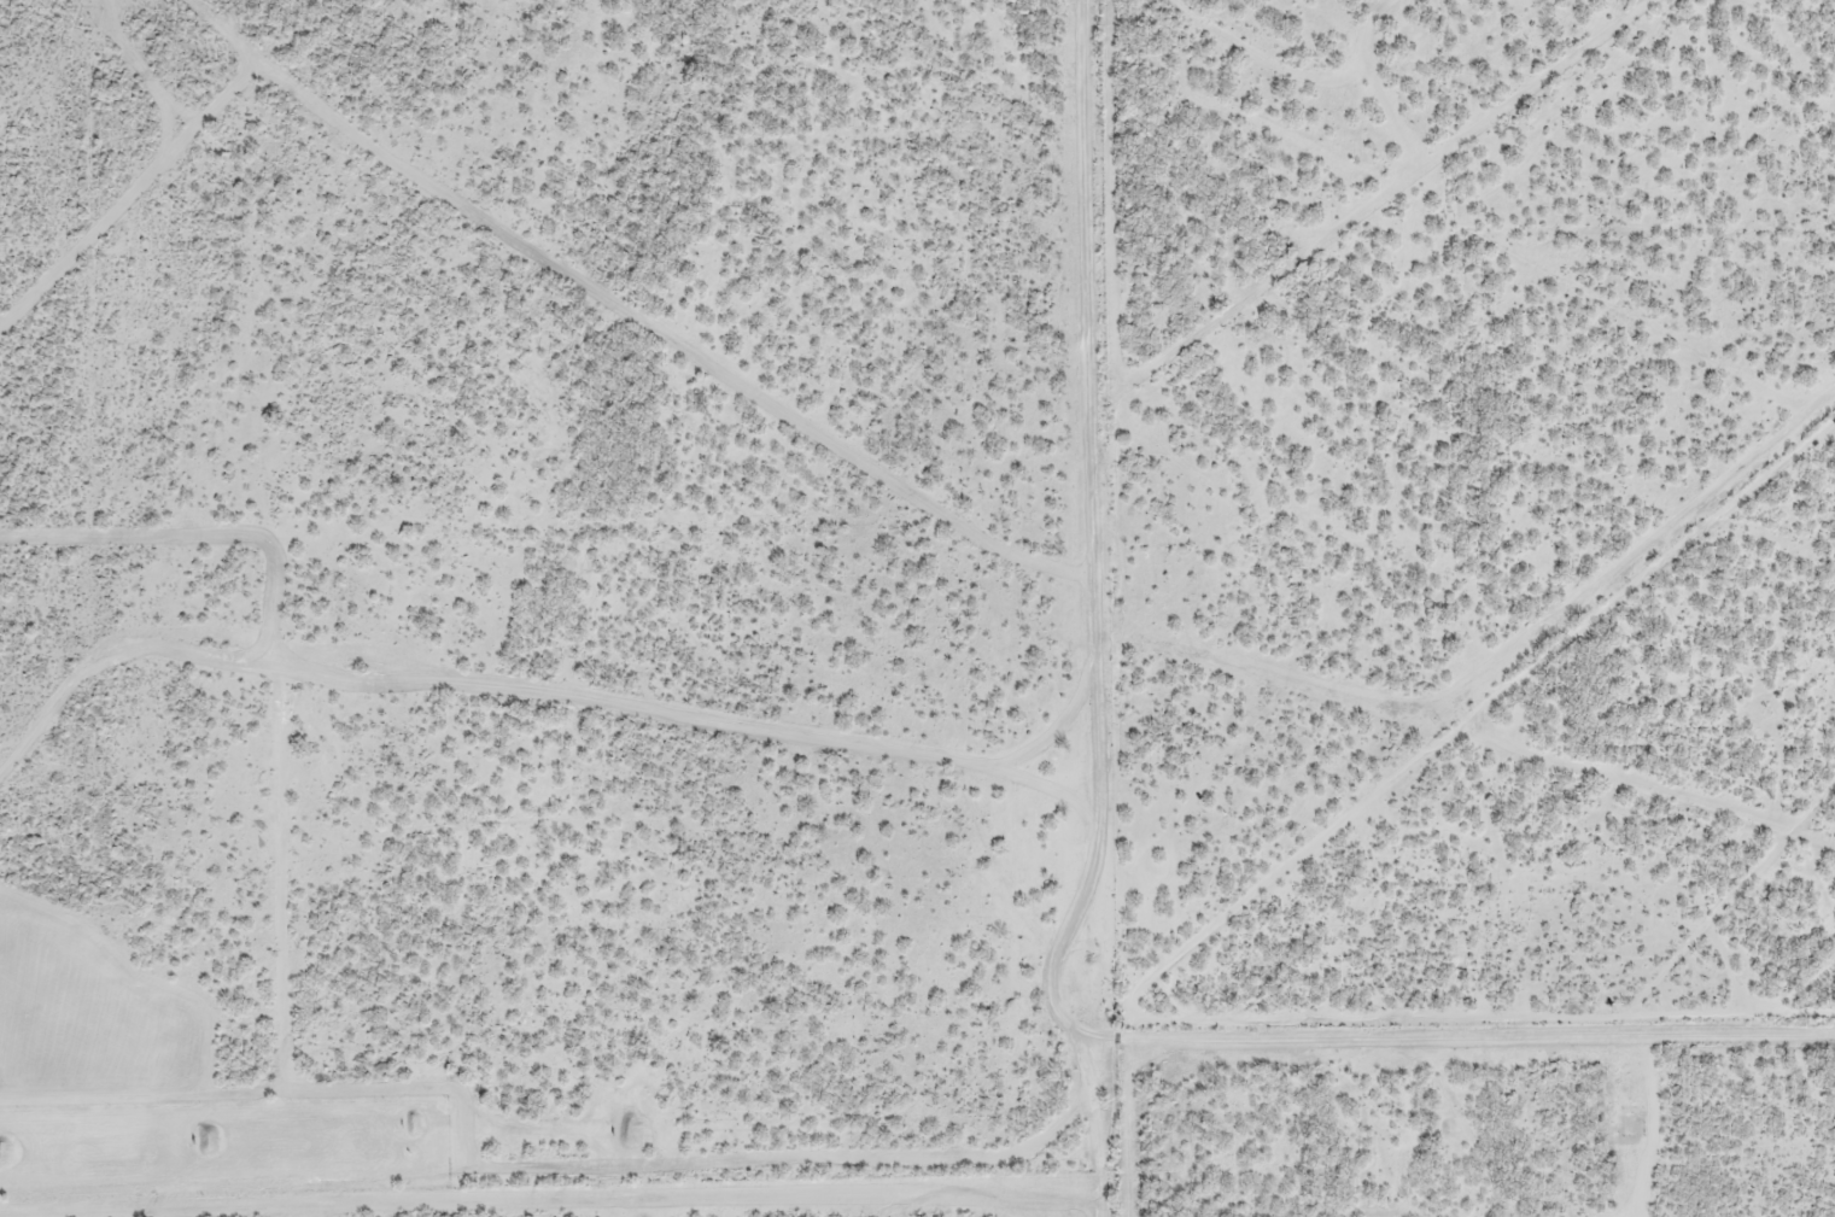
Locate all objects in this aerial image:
road: (946, 720)

